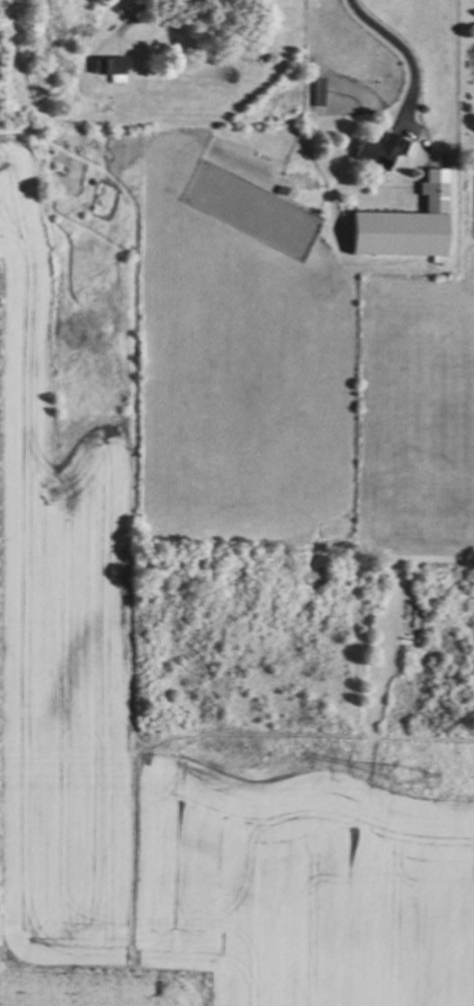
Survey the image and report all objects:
road: (410, 50)
building: (111, 67)
building: (317, 90)
building: (376, 151)
building: (403, 224)
crop: (57, 647)
power tower: (408, 794)

